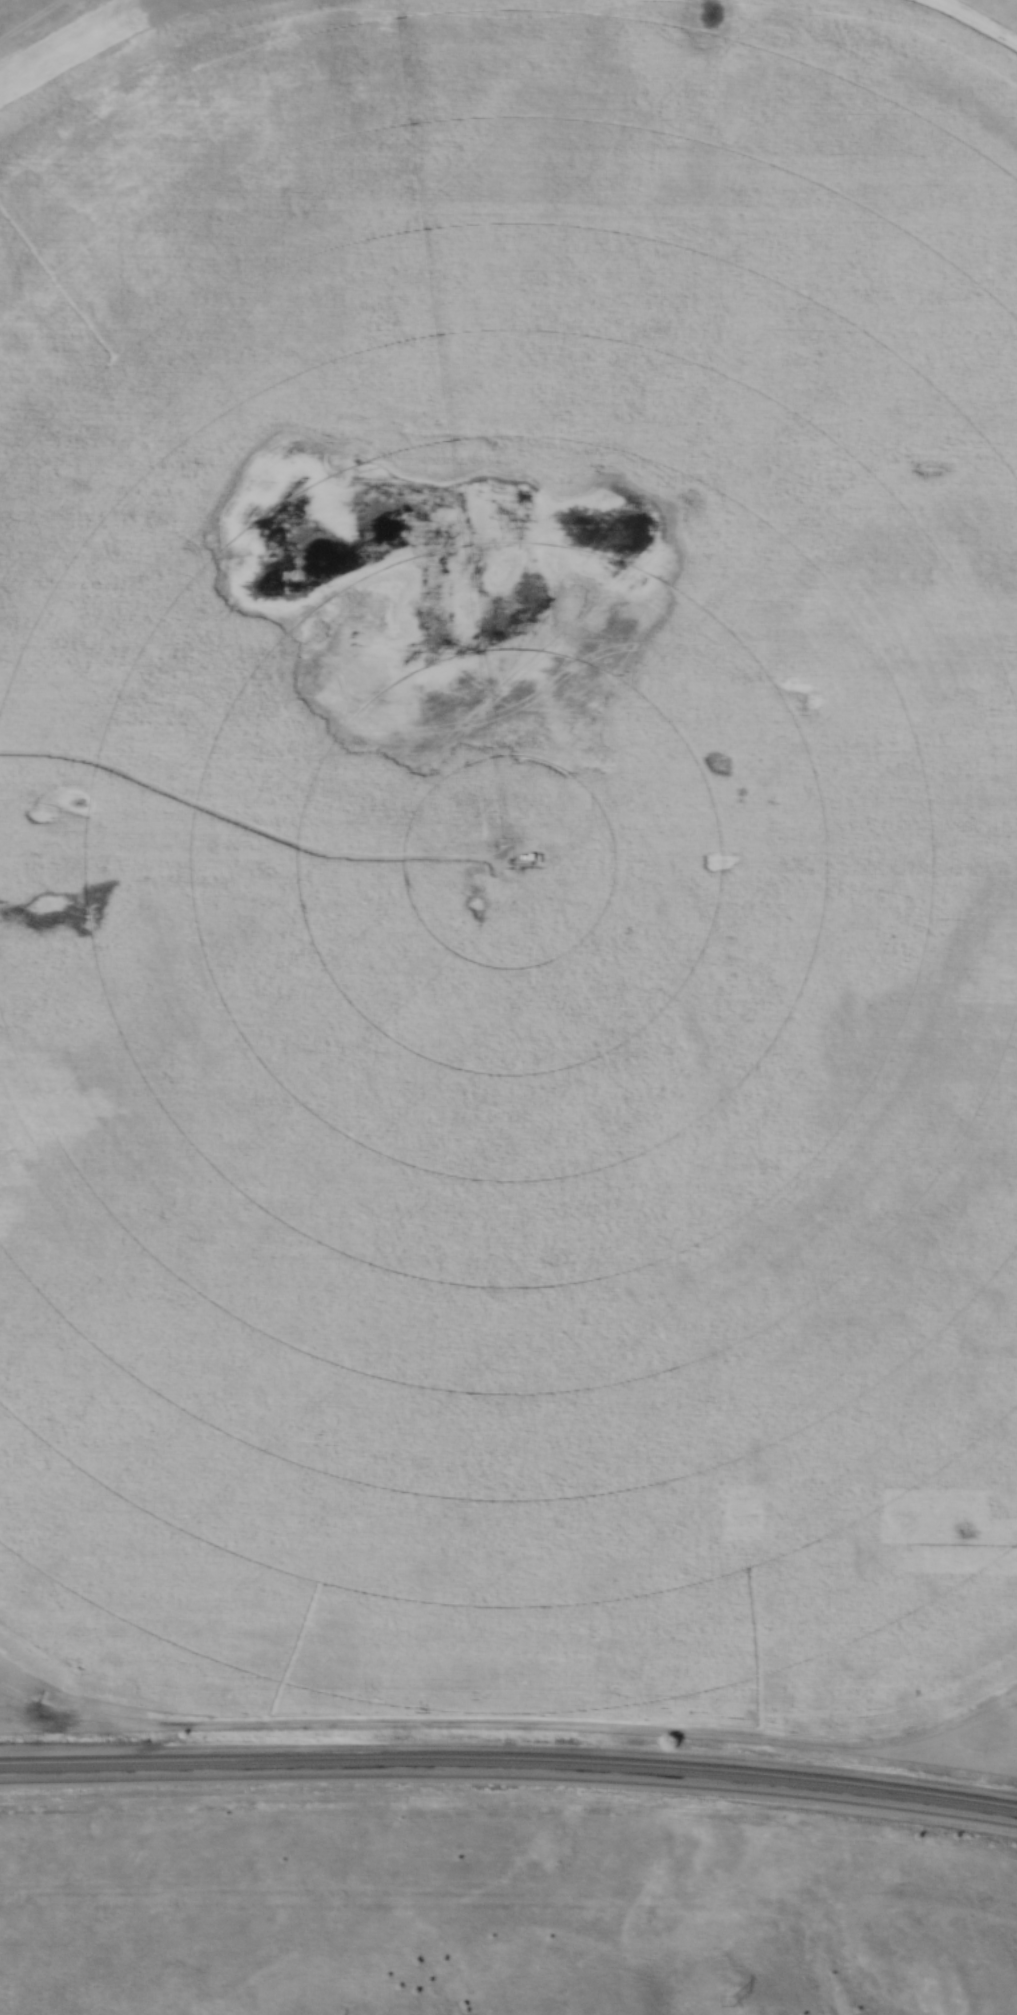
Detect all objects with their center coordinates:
railway: (509, 1760)
railway: (509, 1778)
power tower: (730, 2000)

